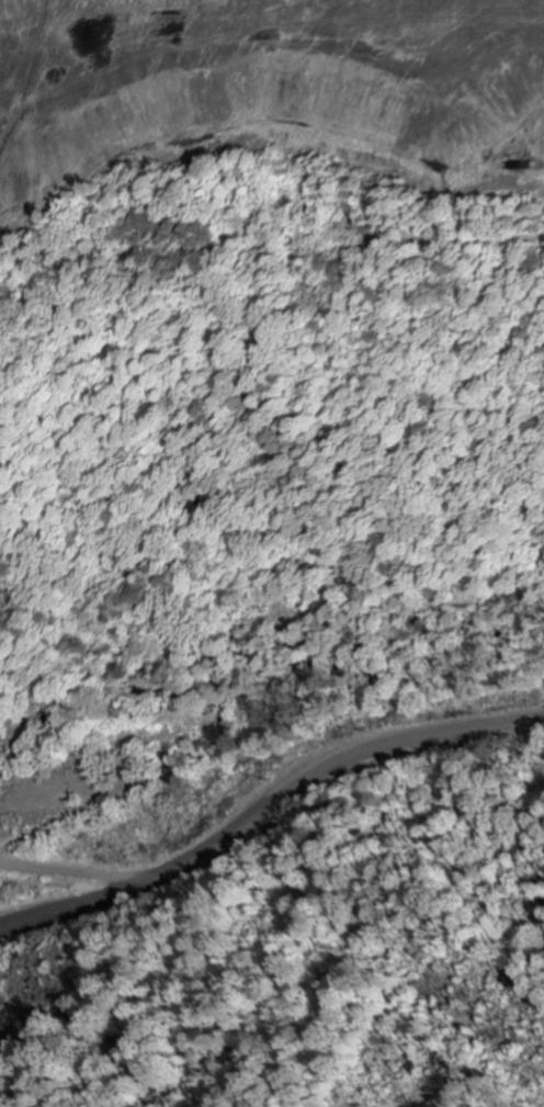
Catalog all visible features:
road: (283, 882)

